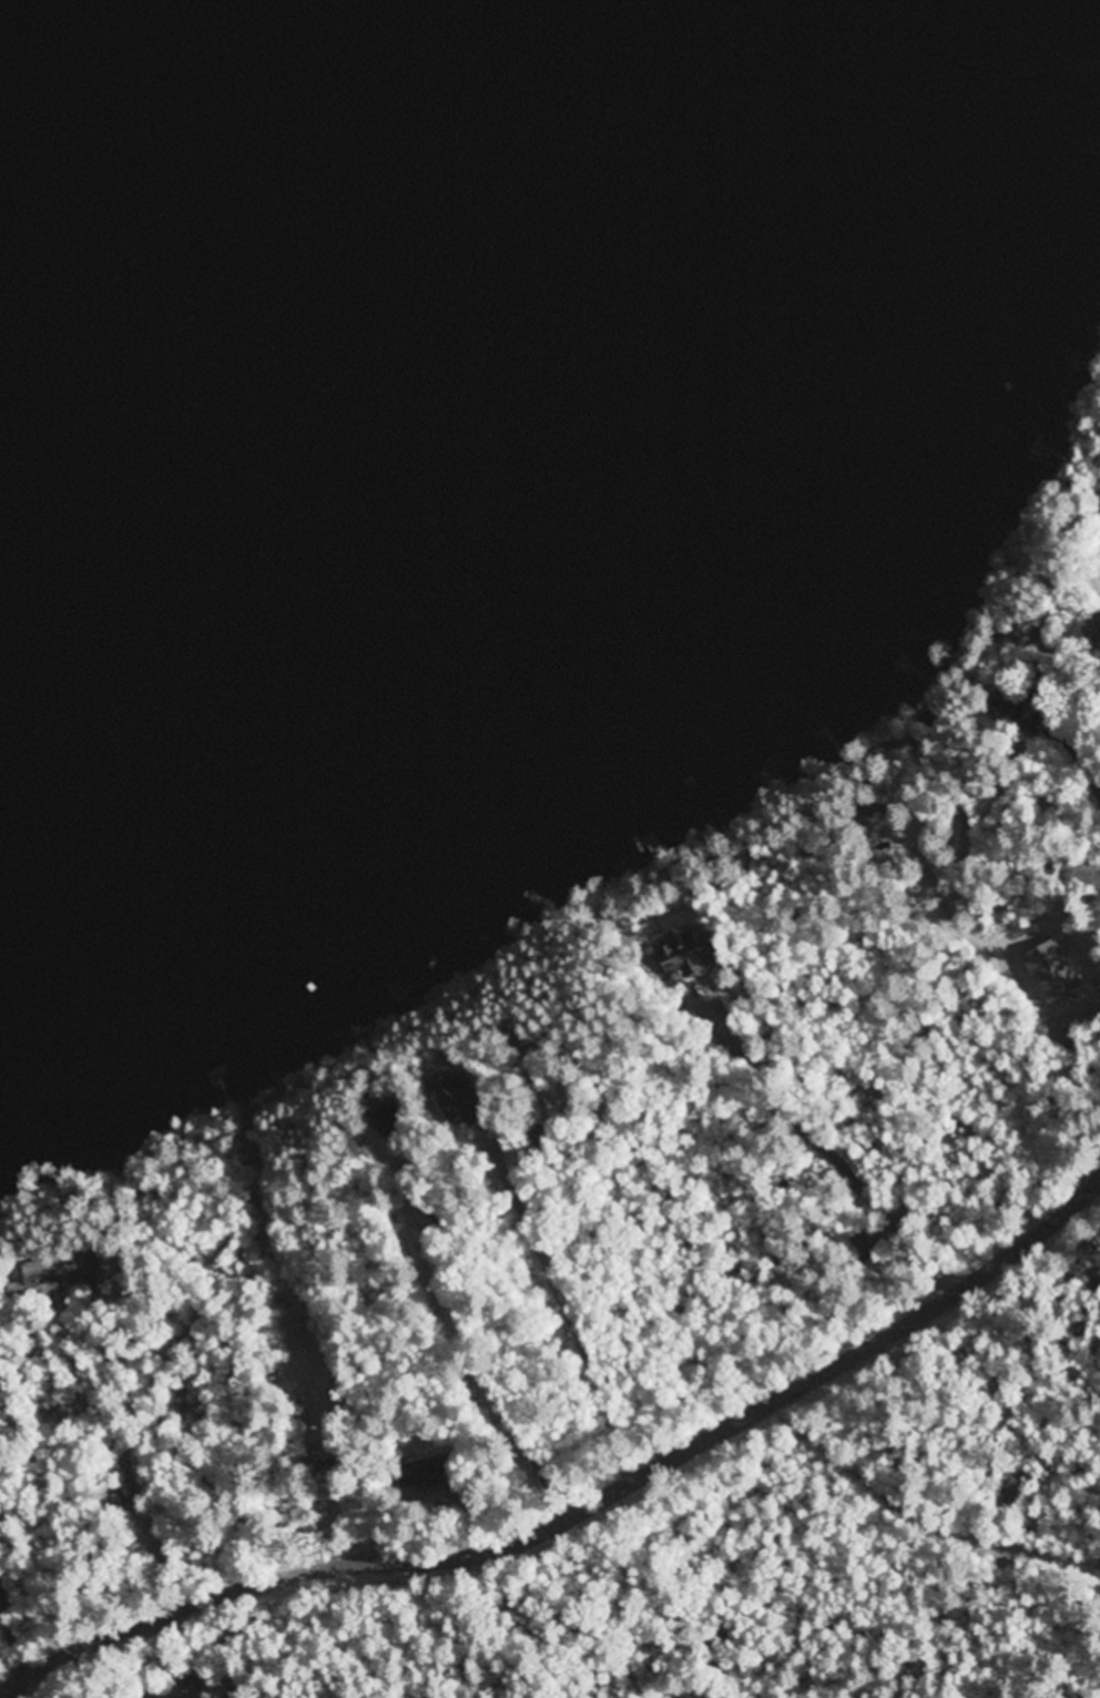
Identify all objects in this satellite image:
building: (691, 953)
building: (1055, 973)
building: (464, 1100)
building: (59, 1274)
road: (573, 1303)
road: (322, 1338)
road: (464, 1341)
road: (122, 1437)
road: (582, 1511)
road: (913, 1522)
road: (11, 1634)

